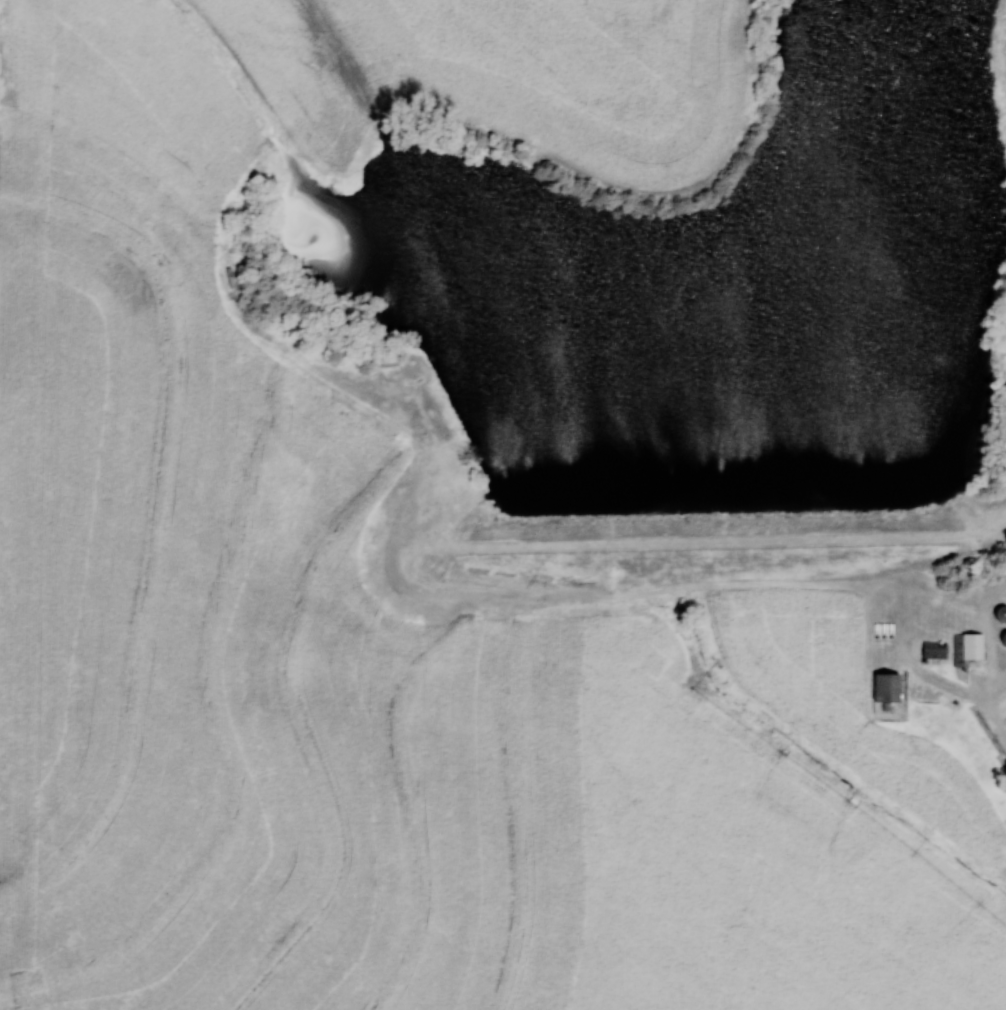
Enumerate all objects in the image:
building: (1001, 614)
building: (1004, 639)
building: (974, 649)
building: (934, 650)
building: (889, 689)

